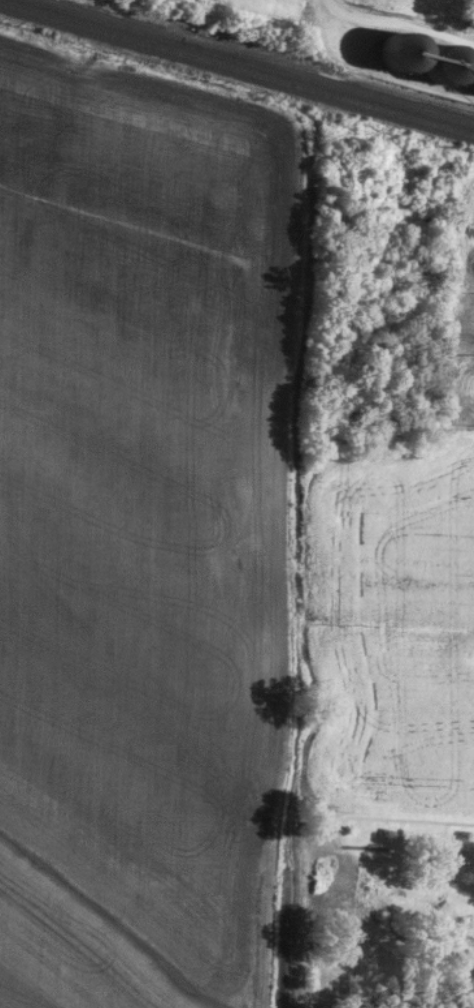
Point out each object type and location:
road: (332, 1)
road: (401, 27)
building: (399, 54)
railway: (249, 64)
building: (443, 67)
railway: (236, 72)
building: (471, 75)
railway: (332, 76)

